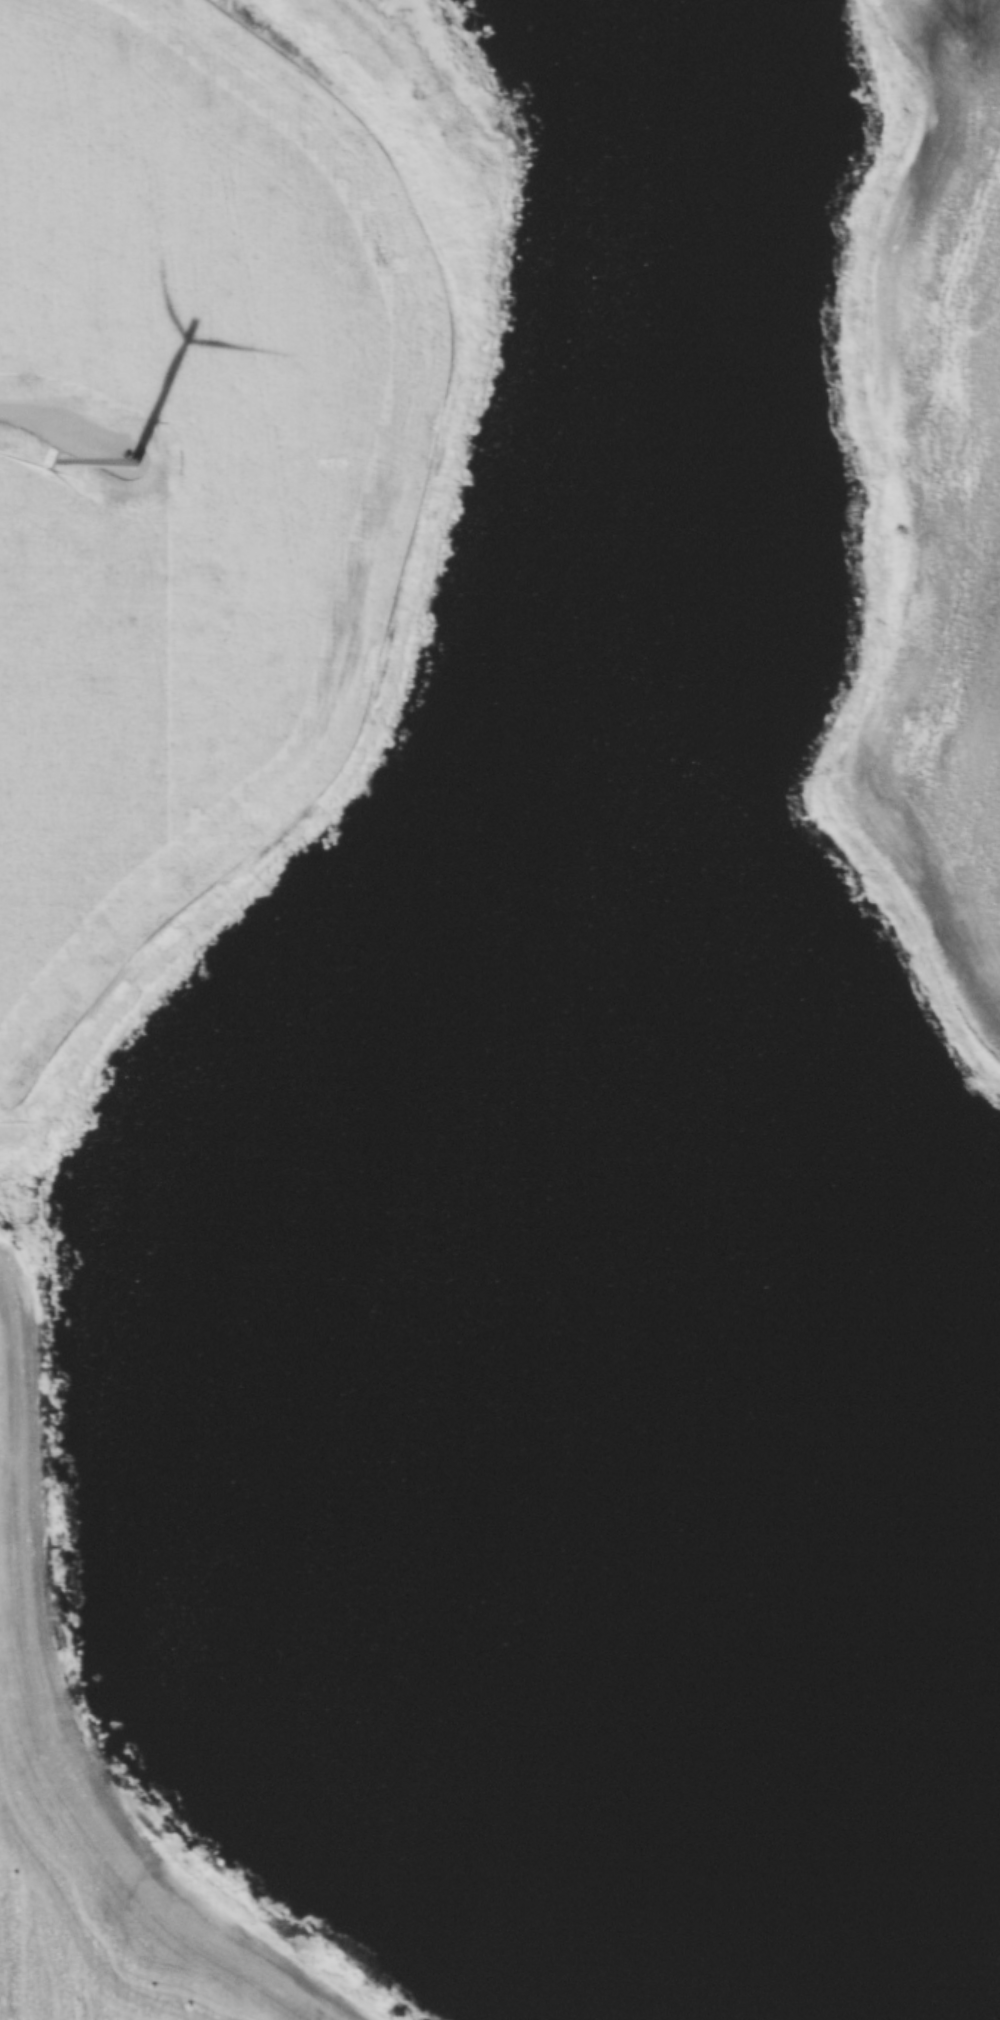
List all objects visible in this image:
wind turbine: (130, 460)

